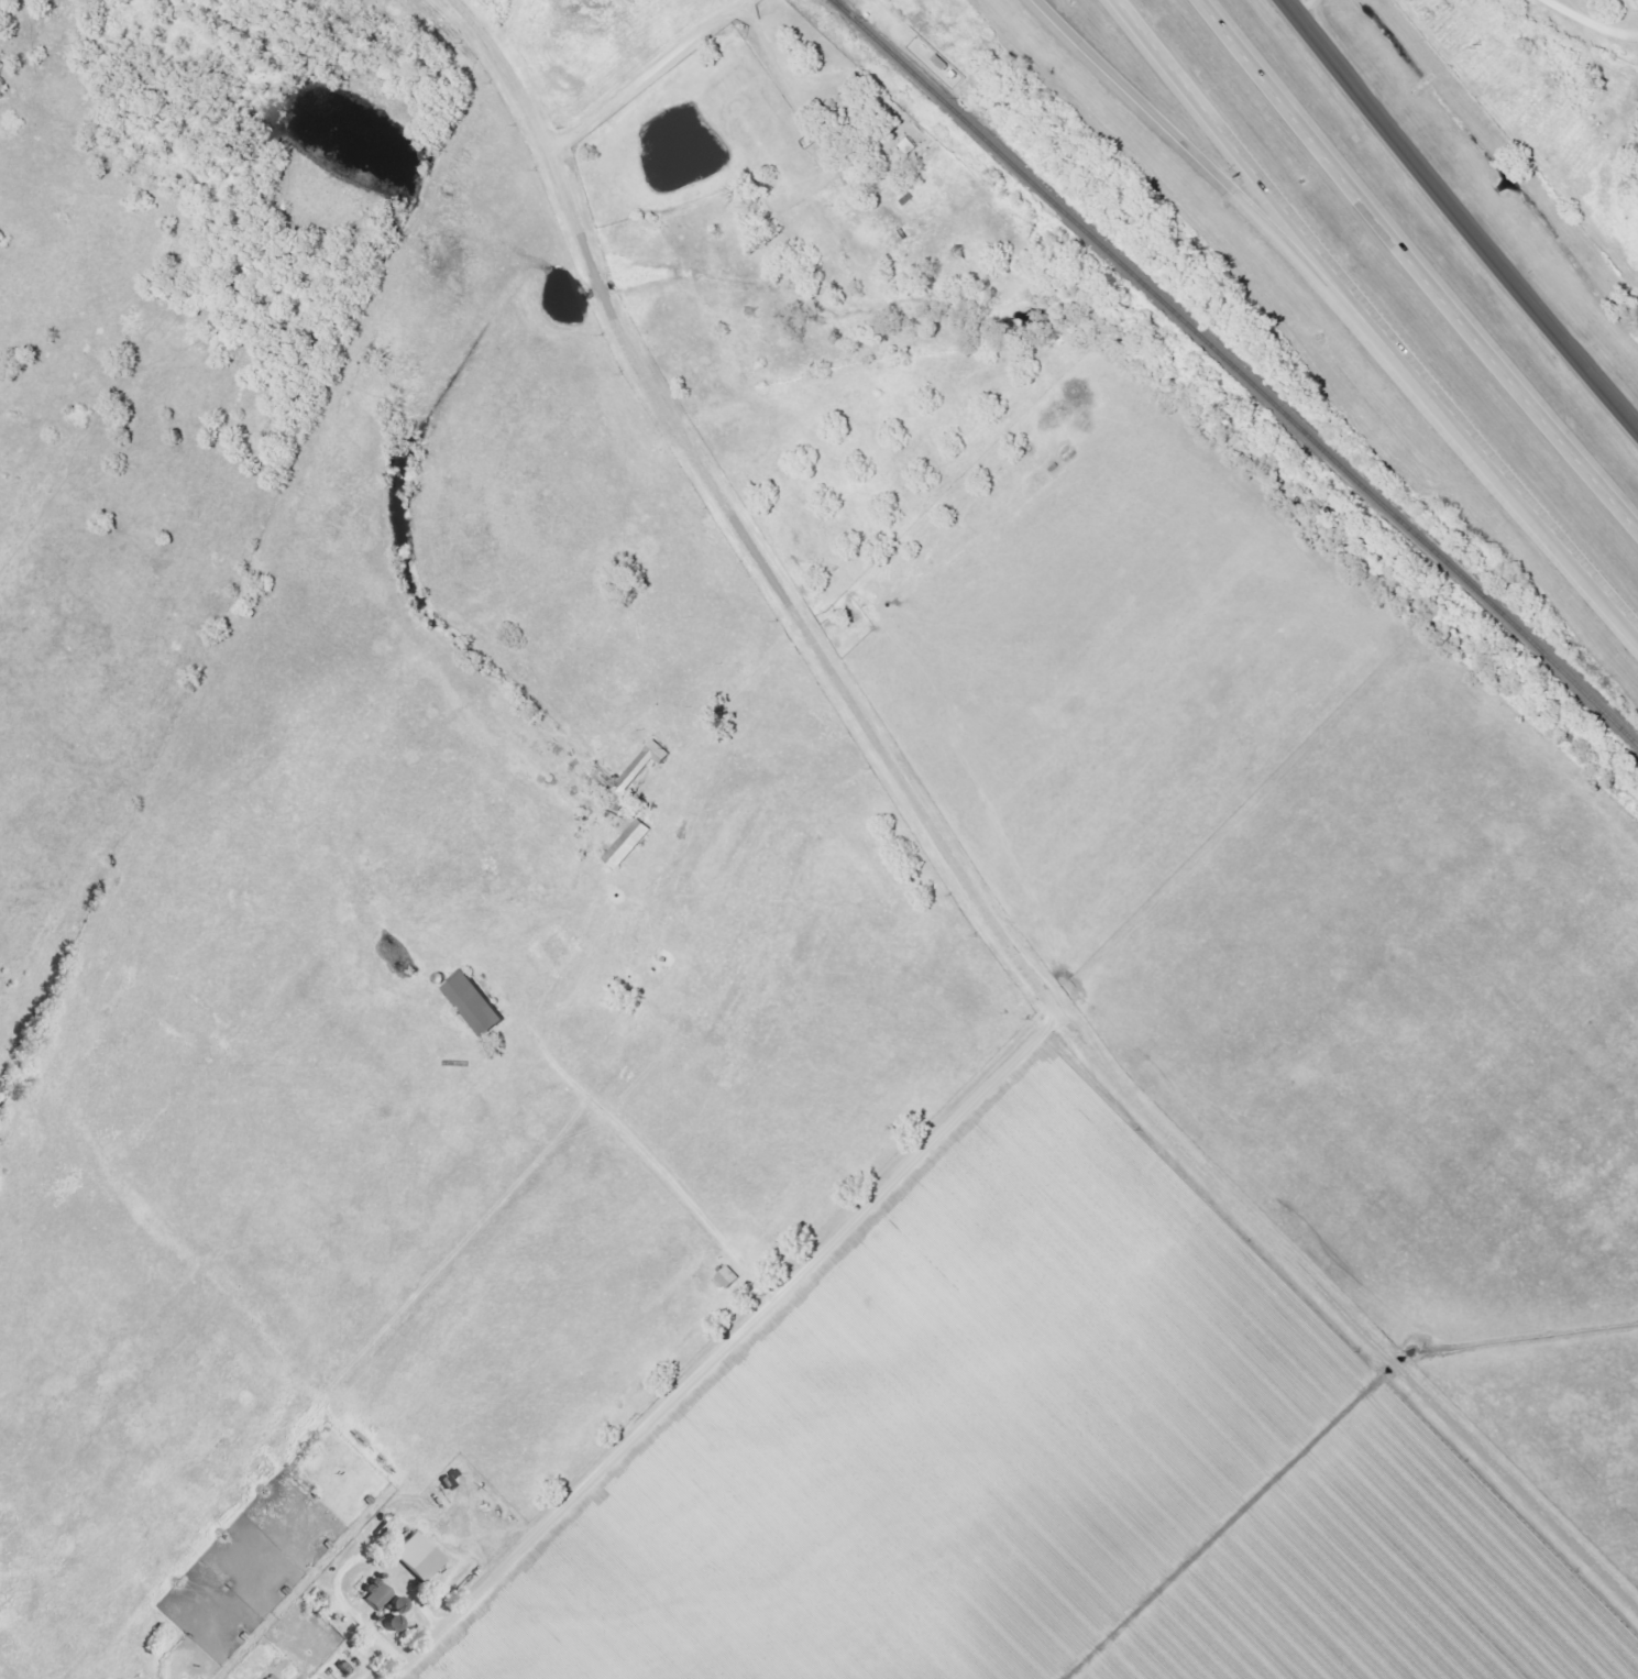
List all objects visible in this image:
road: (1593, 20)
power tower: (1480, 42)
road: (772, 52)
road: (648, 73)
road: (1205, 164)
road: (1461, 212)
road: (1418, 277)
road: (1368, 321)
railway: (1596, 326)
railway: (1238, 369)
building: (644, 767)
building: (628, 845)
road: (957, 868)
building: (475, 1005)
building: (728, 1280)
road: (728, 1349)
building: (418, 1559)
building: (378, 1598)
building: (271, 1677)

